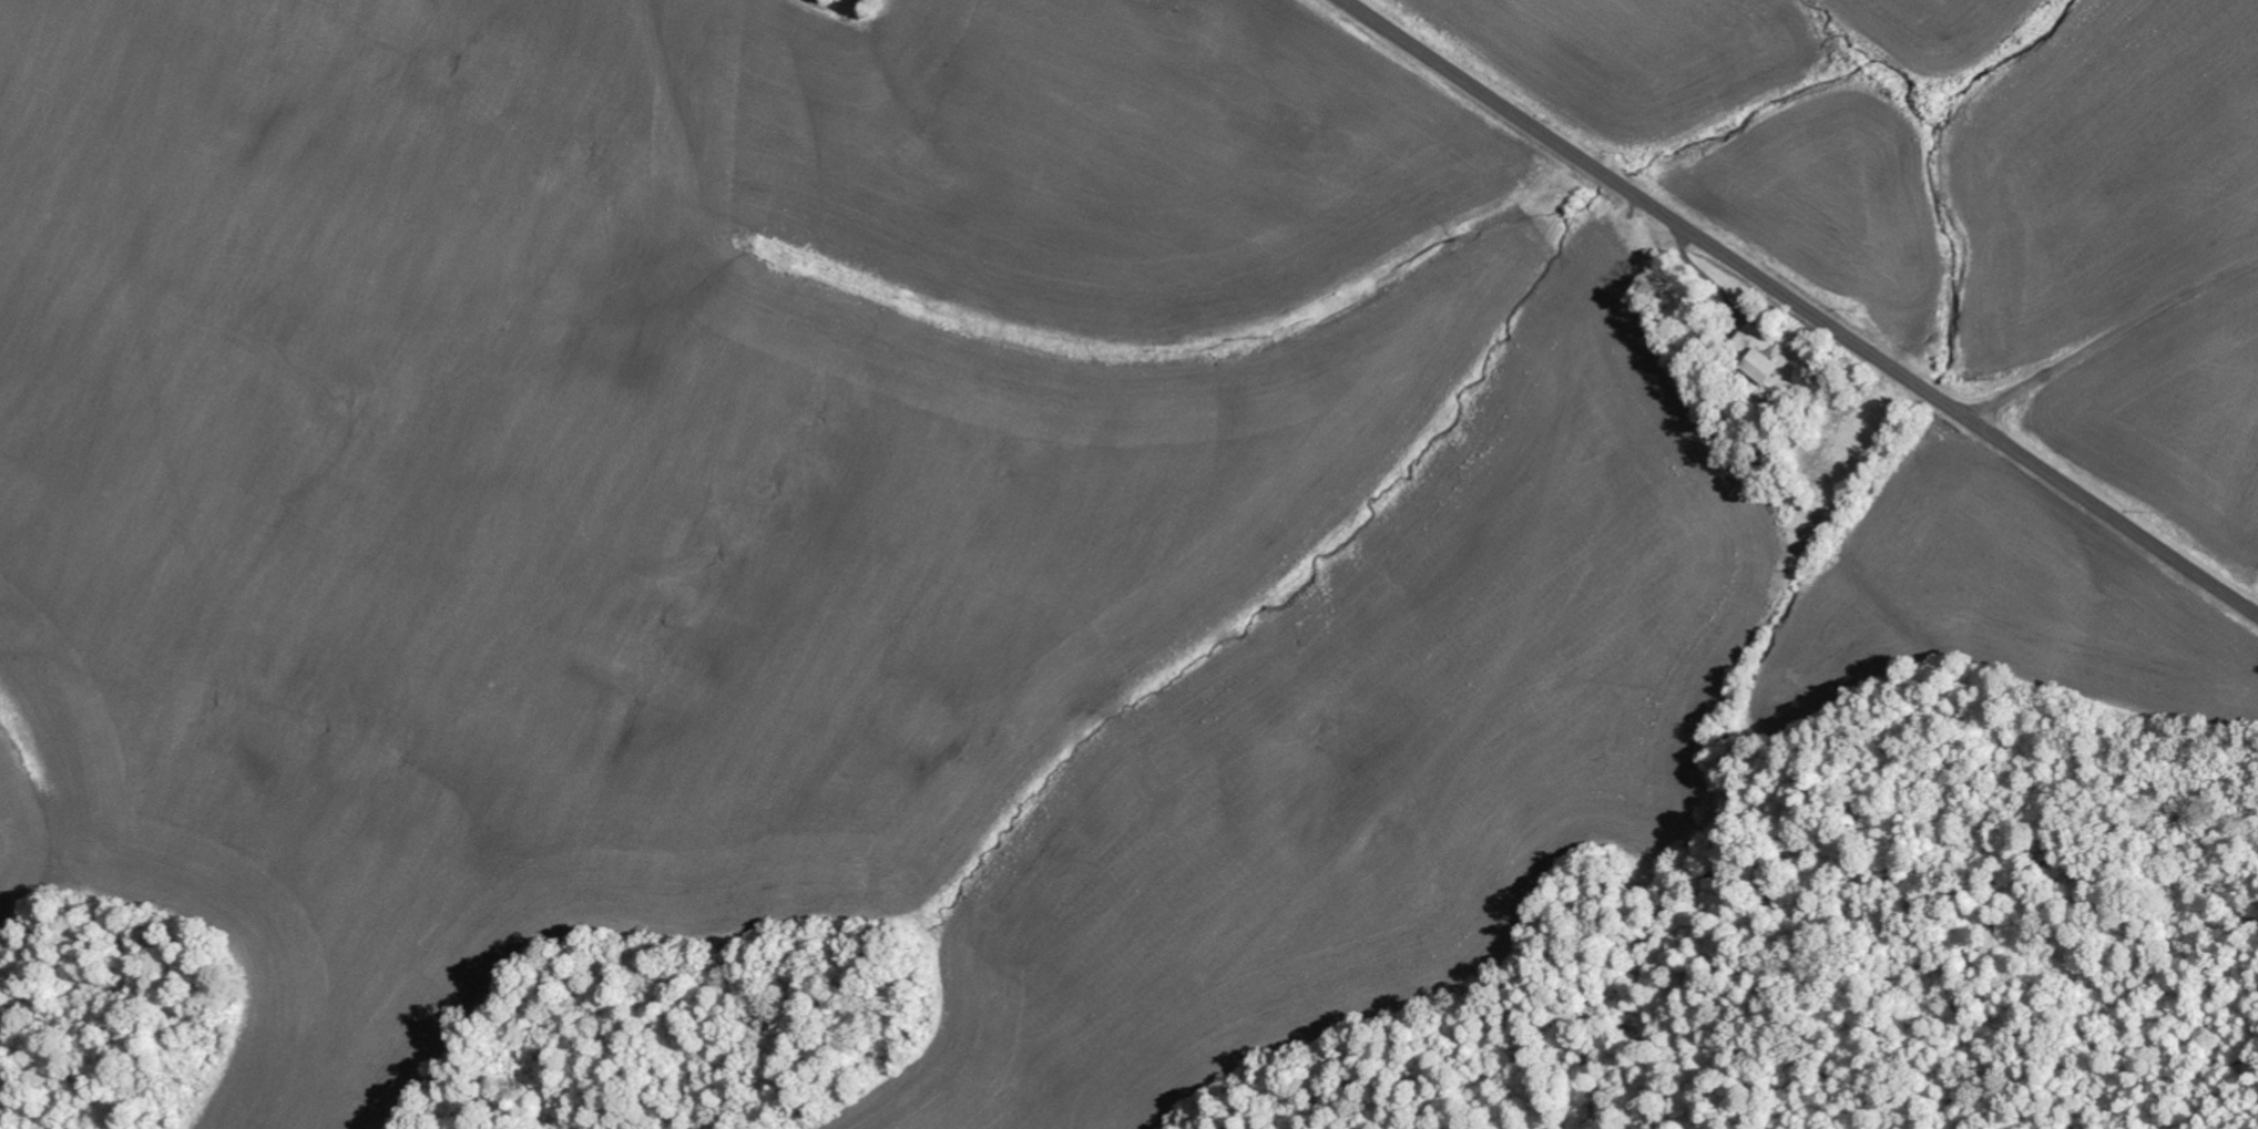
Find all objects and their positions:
road: (1801, 306)
building: (1766, 366)

